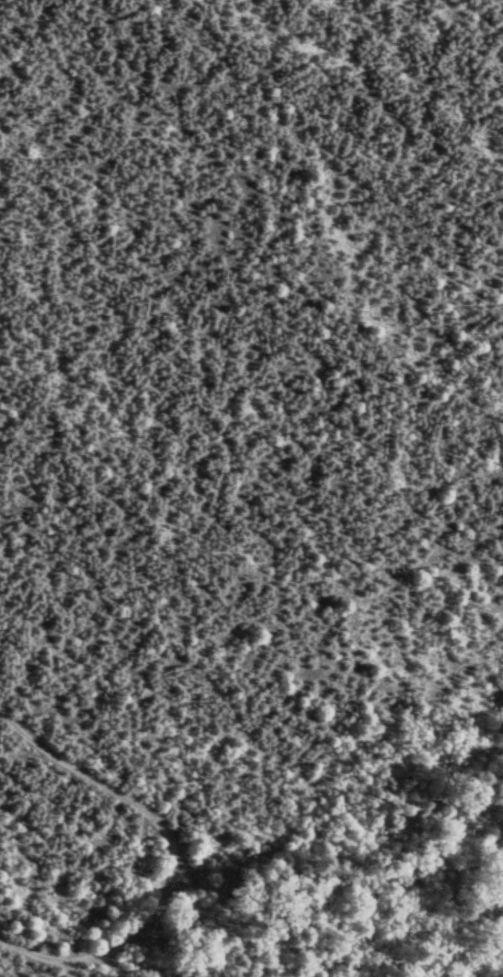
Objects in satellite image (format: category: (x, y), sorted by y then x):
road: (169, 855)

